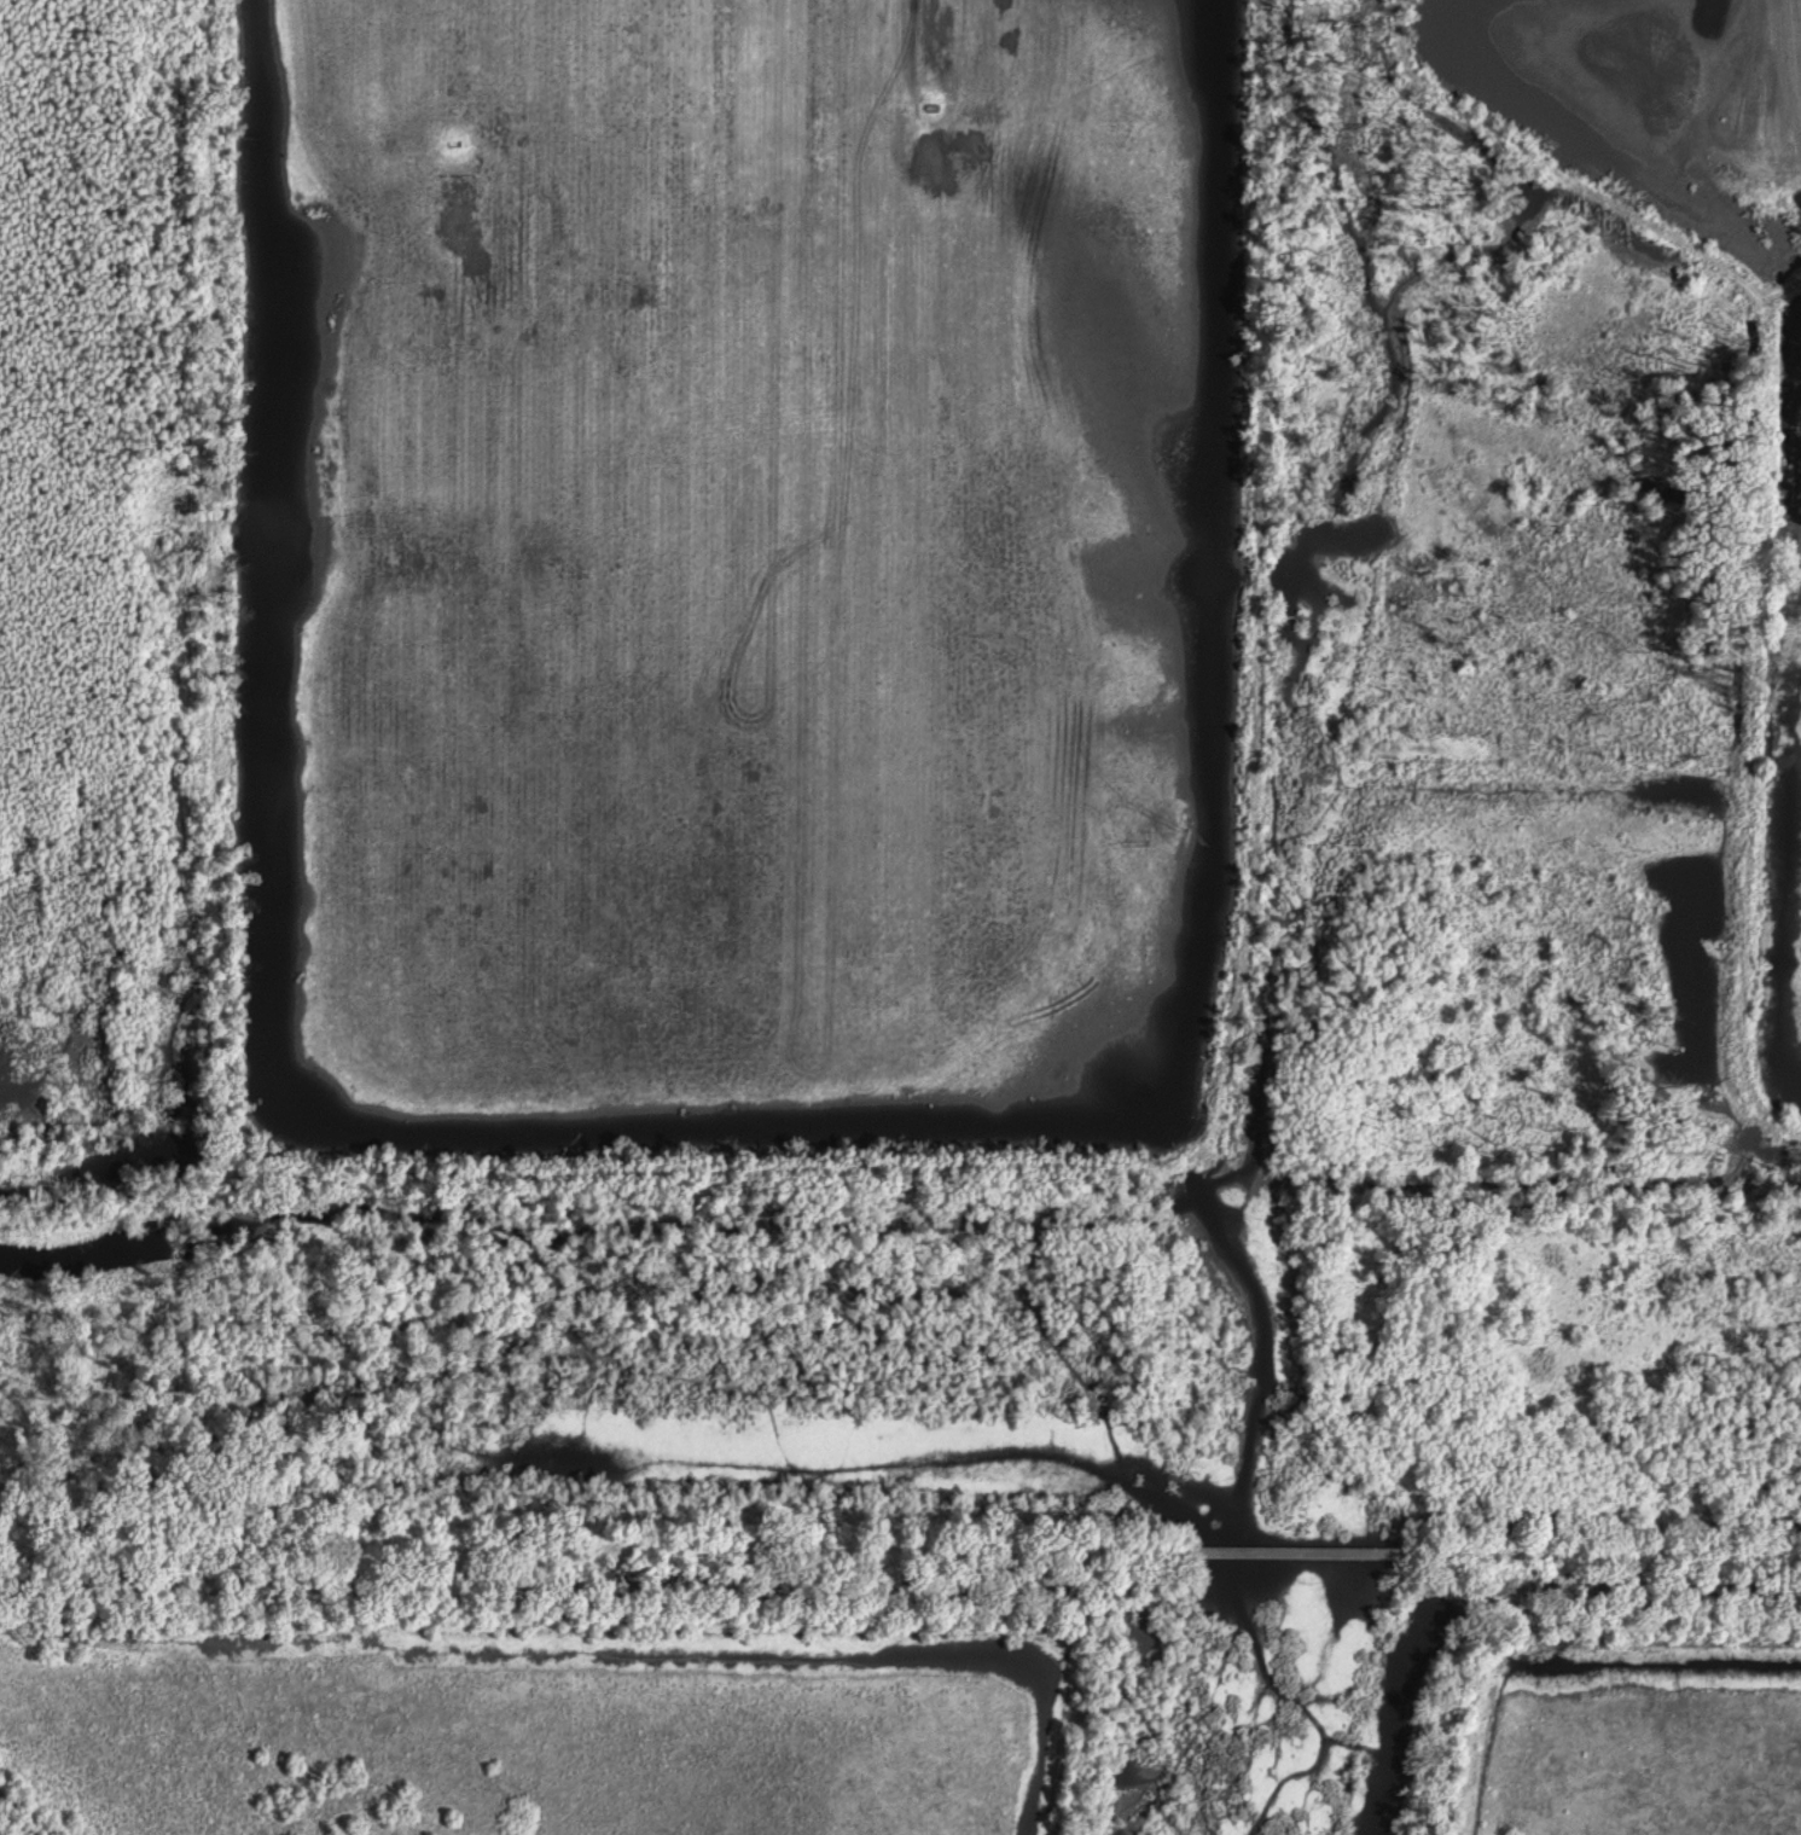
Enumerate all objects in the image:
crop: (528, 1737)

